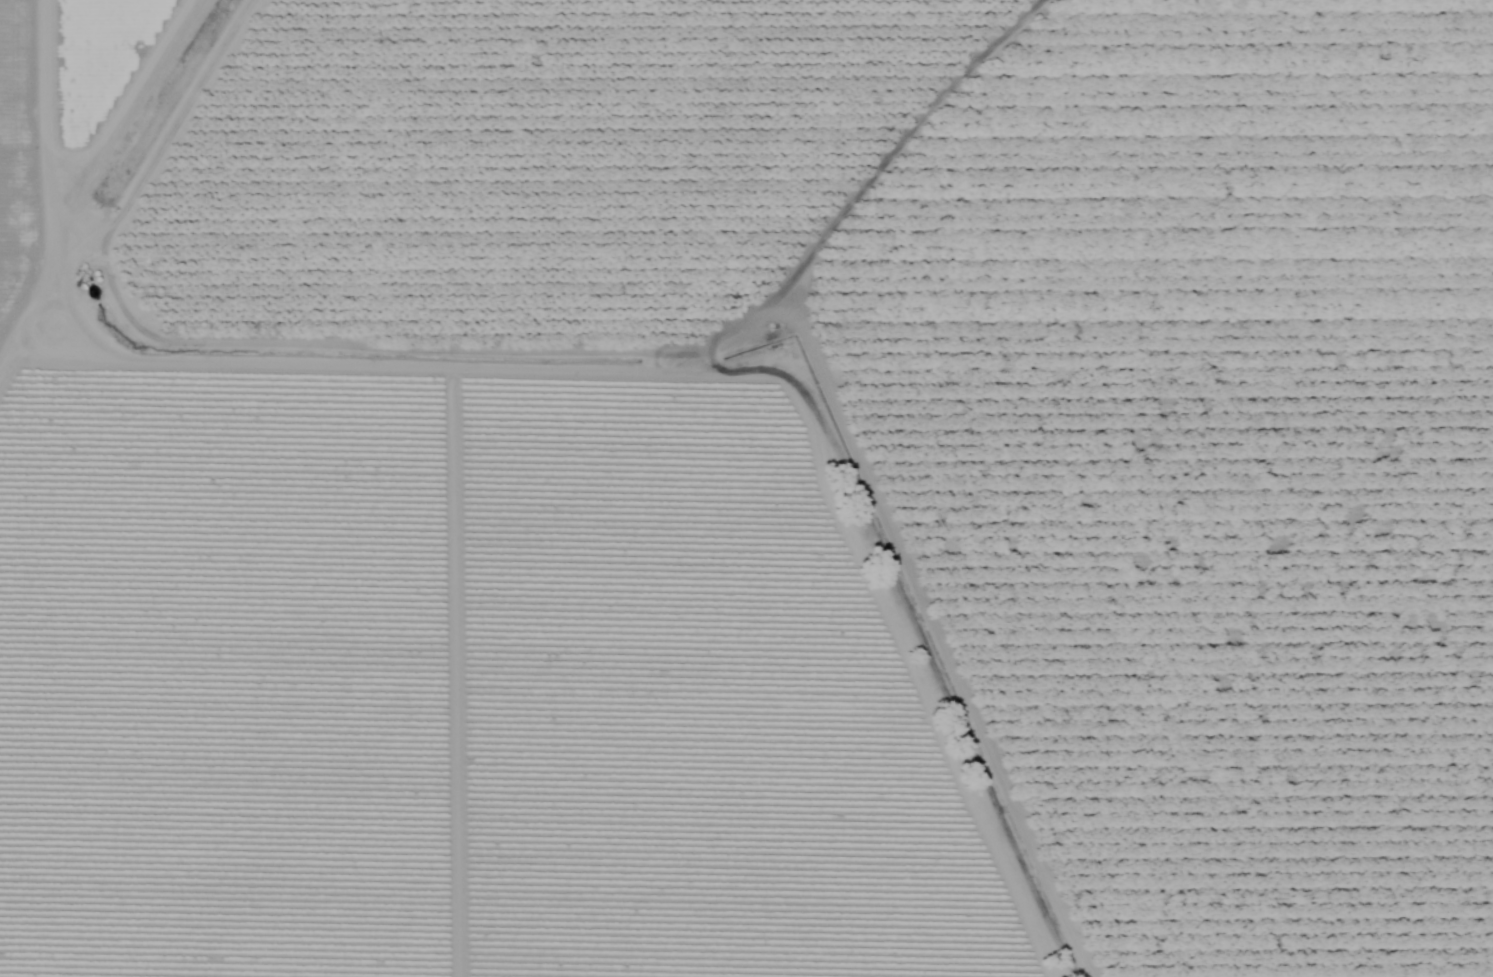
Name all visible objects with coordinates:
crop: (83, 126)
road: (749, 352)

